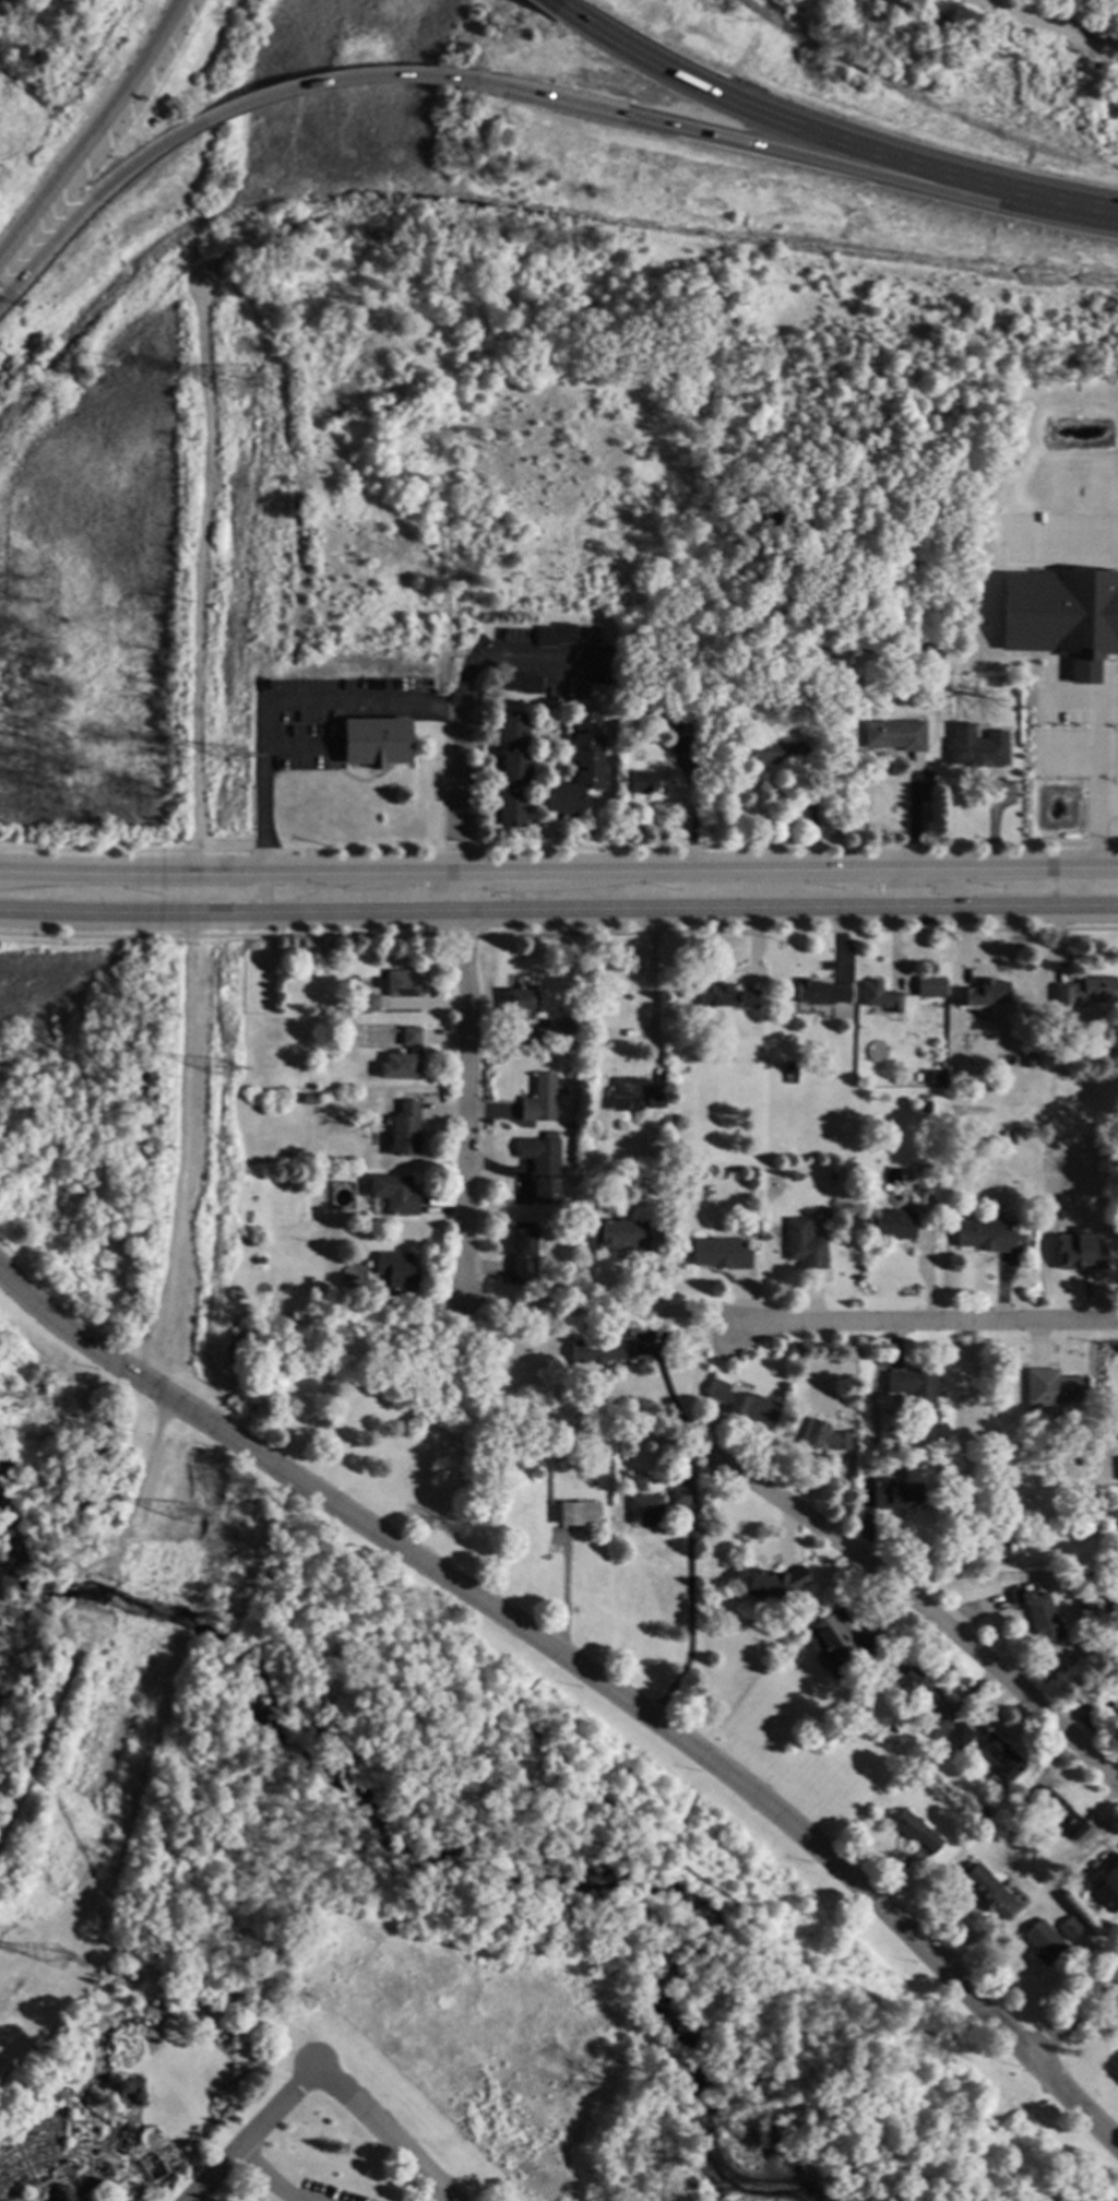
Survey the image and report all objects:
road: (561, 7)
road: (331, 87)
road: (97, 139)
road: (834, 142)
road: (792, 162)
road: (94, 200)
power tower: (238, 382)
road: (1067, 539)
park: (93, 617)
building: (555, 636)
road: (506, 655)
building: (603, 665)
building: (1097, 670)
building: (522, 683)
building: (997, 683)
road: (364, 699)
building: (800, 727)
building: (493, 734)
building: (895, 736)
building: (374, 743)
road: (296, 745)
building: (679, 746)
building: (777, 753)
building: (977, 753)
power tower: (234, 754)
building: (578, 768)
building: (496, 770)
building: (512, 770)
road: (462, 777)
building: (643, 783)
road: (264, 805)
building: (493, 807)
road: (1095, 827)
road: (790, 865)
road: (230, 867)
road: (908, 887)
road: (463, 889)
road: (790, 910)
road: (231, 914)
building: (400, 982)
building: (931, 985)
road: (652, 991)
building: (1085, 991)
building: (821, 992)
building: (983, 993)
building: (725, 995)
building: (878, 995)
building: (362, 1003)
building: (518, 1003)
building: (564, 1032)
building: (968, 1038)
building: (1025, 1055)
building: (403, 1057)
building: (790, 1067)
power tower: (222, 1068)
building: (929, 1076)
building: (590, 1077)
building: (625, 1093)
building: (655, 1096)
building: (308, 1098)
building: (539, 1098)
road: (463, 1104)
building: (924, 1104)
park: (85, 1105)
building: (573, 1126)
building: (404, 1128)
building: (1008, 1138)
building: (999, 1153)
building: (543, 1165)
building: (305, 1175)
building: (680, 1187)
building: (909, 1190)
building: (394, 1193)
building: (826, 1211)
building: (891, 1224)
building: (620, 1234)
building: (986, 1234)
building: (804, 1244)
building: (721, 1252)
building: (1078, 1252)
building: (523, 1253)
building: (259, 1259)
building: (395, 1269)
road: (927, 1270)
road: (877, 1318)
building: (670, 1334)
building: (599, 1350)
building: (852, 1352)
building: (914, 1385)
road: (667, 1387)
building: (1051, 1387)
building: (717, 1391)
building: (753, 1407)
park: (404, 1424)
building: (823, 1436)
building: (597, 1454)
building: (675, 1454)
park: (49, 1455)
building: (635, 1480)
building: (896, 1494)
building: (680, 1495)
building: (645, 1508)
building: (1114, 1508)
power tower: (179, 1512)
building: (578, 1512)
building: (1087, 1515)
building: (773, 1583)
building: (1113, 1591)
road: (564, 1597)
road: (921, 1598)
building: (1083, 1605)
building: (1105, 1610)
building: (1038, 1611)
road: (690, 1619)
building: (1117, 1625)
building: (842, 1640)
road: (586, 1673)
building: (917, 1683)
building: (1115, 1707)
building: (935, 1724)
road: (1087, 1726)
building: (960, 1735)
park: (808, 1746)
building: (1001, 1756)
building: (1057, 1811)
building: (915, 1830)
river: (428, 1837)
building: (1105, 1881)
building: (987, 1891)
park: (558, 1920)
building: (1049, 1938)
power tower: (57, 1959)
road: (1072, 2014)
park: (1094, 2057)
building: (130, 2093)
road: (381, 2133)
road: (249, 2135)
building: (122, 2140)
park: (313, 2162)
road: (262, 2178)
building: (93, 2182)
building: (60, 2192)

